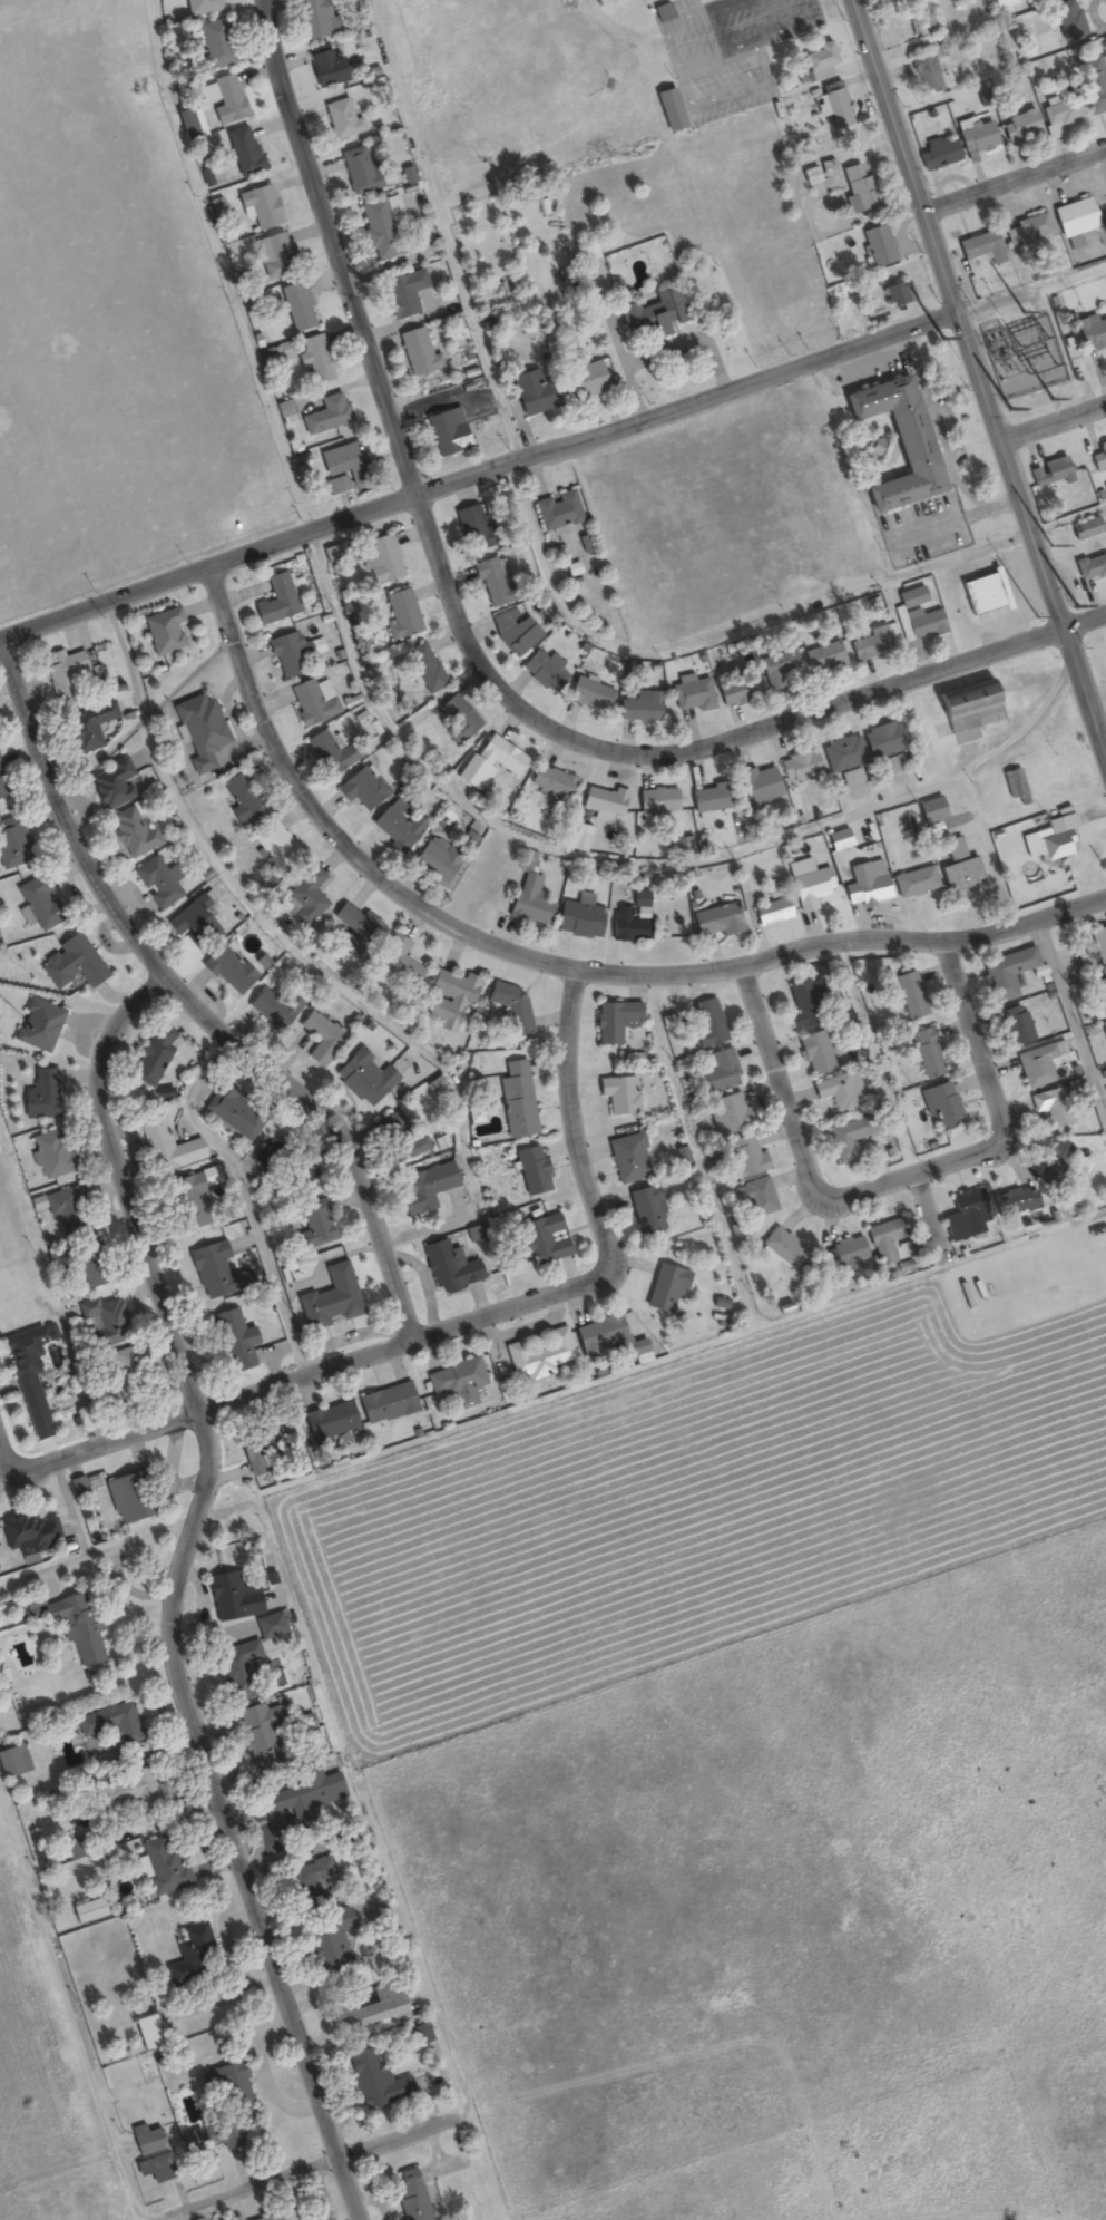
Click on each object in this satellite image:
building: (696, 0)
building: (601, 1)
road: (705, 1)
building: (202, 8)
building: (663, 13)
building: (313, 20)
building: (921, 20)
building: (1070, 23)
road: (754, 39)
building: (215, 46)
parking lot: (726, 49)
building: (820, 62)
road: (675, 66)
building: (325, 68)
building: (924, 76)
building: (1093, 85)
building: (228, 101)
building: (835, 106)
building: (669, 111)
building: (1063, 114)
building: (342, 120)
building: (1019, 127)
building: (977, 139)
building: (244, 153)
building: (938, 155)
building: (358, 173)
building: (811, 176)
road: (1015, 182)
building: (858, 188)
building: (1105, 202)
building: (261, 208)
building: (1074, 220)
building: (380, 231)
building: (1028, 232)
building: (878, 247)
building: (979, 253)
building: (275, 256)
building: (403, 294)
building: (899, 295)
building: (298, 308)
power tower: (1020, 311)
building: (654, 315)
building: (1092, 333)
power tower: (942, 337)
building: (418, 354)
power substation: (1022, 354)
building: (316, 360)
road: (981, 378)
building: (584, 382)
building: (534, 395)
power tower: (1050, 397)
power tower: (1009, 407)
building: (327, 416)
road: (1055, 425)
building: (447, 434)
building: (898, 442)
building: (1099, 458)
building: (341, 461)
road: (478, 473)
building: (336, 487)
building: (558, 513)
building: (474, 527)
building: (1086, 530)
power tower: (1051, 544)
building: (381, 561)
building: (1090, 568)
building: (491, 582)
building: (981, 595)
building: (277, 602)
power tower: (1075, 605)
building: (402, 615)
power tower: (1037, 616)
road: (1085, 621)
building: (922, 624)
building: (164, 632)
building: (515, 632)
road: (464, 636)
building: (871, 644)
building: (287, 654)
building: (824, 659)
building: (425, 669)
building: (779, 669)
building: (542, 670)
building: (63, 676)
building: (738, 689)
building: (589, 694)
building: (693, 697)
building: (312, 704)
building: (640, 709)
building: (967, 712)
building: (459, 720)
building: (87, 728)
building: (200, 731)
building: (884, 740)
building: (330, 754)
building: (843, 754)
building: (491, 762)
building: (892, 766)
building: (800, 767)
building: (851, 779)
building: (551, 783)
building: (1014, 785)
building: (112, 786)
building: (760, 786)
building: (2, 787)
building: (362, 789)
building: (242, 799)
building: (709, 800)
building: (605, 801)
building: (658, 801)
building: (931, 811)
building: (398, 825)
building: (135, 835)
building: (839, 840)
building: (1053, 843)
building: (12, 845)
building: (276, 846)
building: (952, 849)
building: (437, 861)
building: (960, 875)
building: (916, 883)
building: (158, 884)
building: (809, 884)
building: (867, 885)
building: (305, 899)
building: (530, 903)
building: (41, 904)
building: (772, 913)
building: (192, 914)
building: (579, 921)
building: (716, 922)
building: (354, 927)
building: (627, 927)
building: (1098, 945)
building: (399, 963)
building: (72, 964)
building: (228, 971)
building: (1007, 973)
road: (552, 974)
building: (1100, 994)
building: (910, 996)
road: (186, 1001)
building: (450, 1001)
building: (806, 1004)
building: (276, 1005)
building: (512, 1007)
building: (615, 1022)
building: (709, 1024)
building: (1016, 1025)
building: (39, 1026)
building: (322, 1039)
building: (815, 1054)
building: (929, 1054)
building: (155, 1057)
building: (642, 1058)
building: (1038, 1064)
building: (718, 1072)
building: (364, 1079)
building: (841, 1094)
building: (619, 1096)
building: (41, 1097)
building: (517, 1101)
building: (1053, 1107)
building: (942, 1108)
building: (728, 1114)
building: (234, 1116)
building: (401, 1138)
building: (848, 1139)
building: (165, 1146)
building: (52, 1155)
building: (274, 1155)
building: (747, 1157)
building: (1056, 1158)
building: (629, 1159)
building: (303, 1170)
building: (532, 1170)
road: (895, 1182)
building: (430, 1186)
building: (755, 1199)
building: (1015, 1202)
building: (189, 1204)
building: (68, 1208)
building: (647, 1210)
building: (965, 1216)
building: (317, 1226)
building: (540, 1242)
building: (890, 1244)
building: (782, 1248)
building: (842, 1257)
building: (89, 1266)
building: (450, 1268)
building: (217, 1272)
building: (666, 1289)
building: (331, 1299)
building: (104, 1322)
road: (439, 1323)
building: (609, 1340)
building: (233, 1341)
building: (27, 1352)
building: (539, 1357)
building: (123, 1382)
building: (458, 1383)
building: (386, 1404)
building: (330, 1422)
building: (129, 1499)
building: (29, 1535)
road: (178, 1593)
building: (233, 1598)
building: (77, 1626)
building: (236, 1671)
building: (114, 1725)
building: (260, 1732)
building: (13, 1763)
building: (126, 1791)
building: (301, 1800)
building: (163, 1867)
building: (313, 1886)
building: (89, 1911)
building: (330, 1943)
building: (192, 1956)
building: (370, 2009)
building: (420, 2035)
building: (375, 2081)
building: (226, 2087)
building: (206, 2135)
road: (397, 2139)
building: (146, 2140)
building: (155, 2170)
road: (261, 2185)
building: (411, 2195)
building: (280, 2217)

